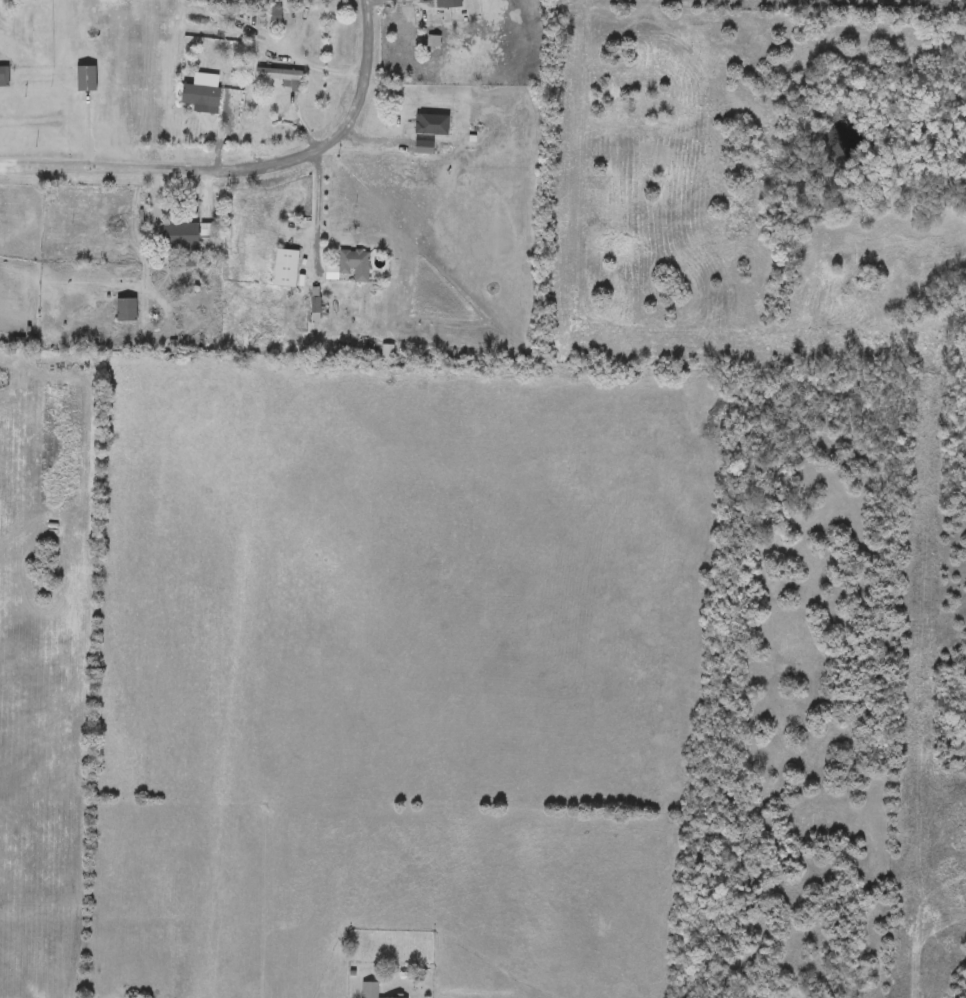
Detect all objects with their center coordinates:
building: (276, 17)
building: (282, 76)
building: (4, 77)
building: (87, 78)
building: (432, 123)
road: (235, 159)
road: (319, 199)
building: (182, 236)
building: (355, 264)
building: (287, 267)
building: (127, 309)
building: (369, 990)

